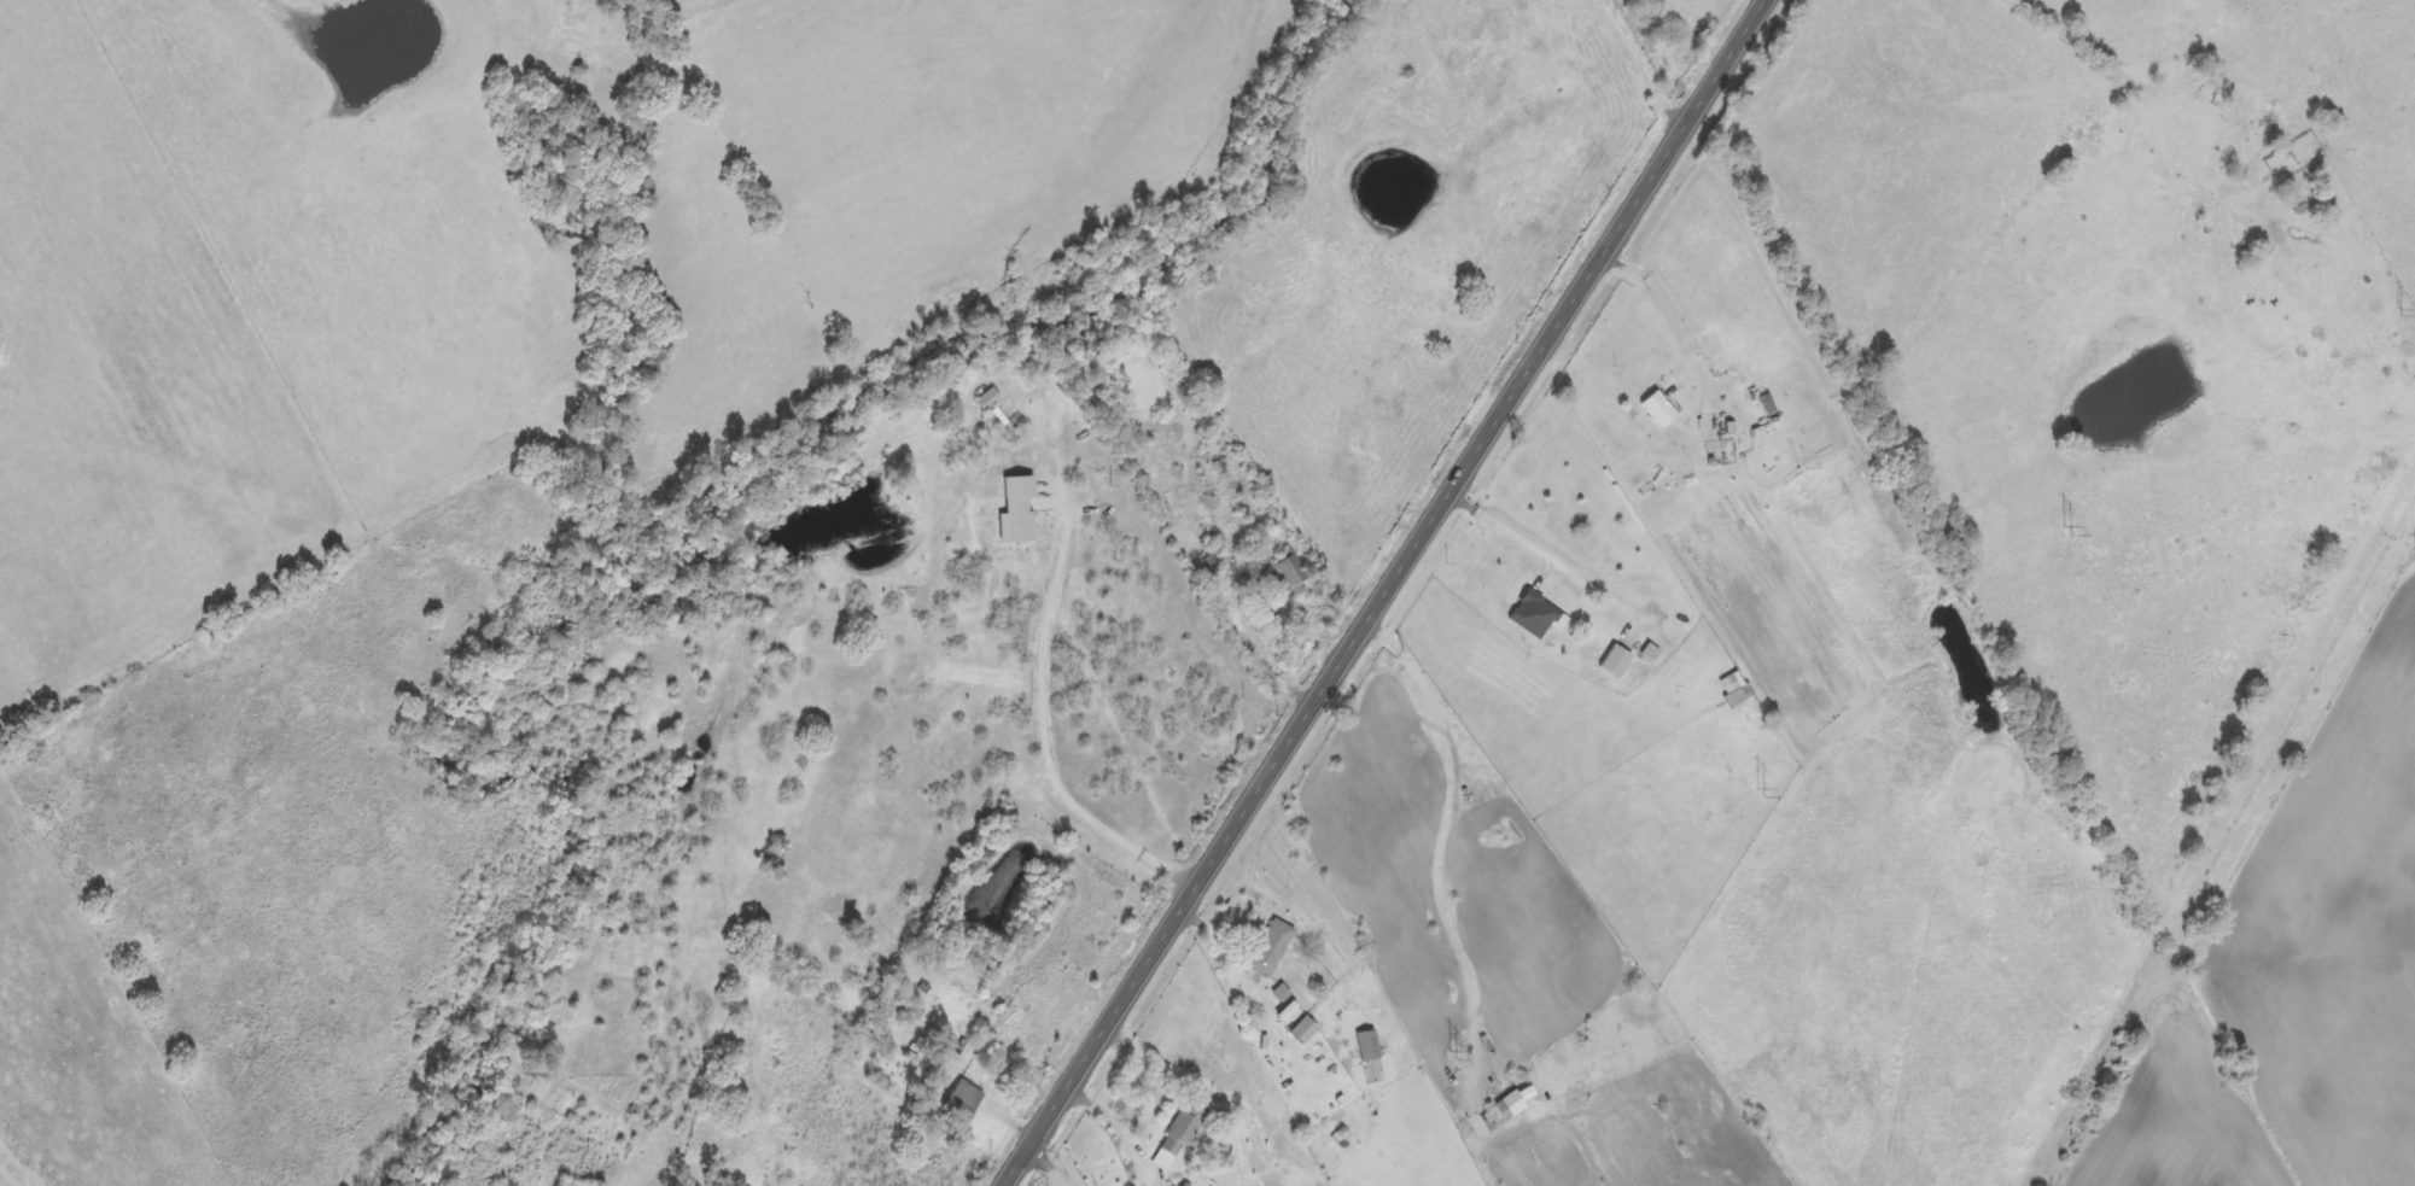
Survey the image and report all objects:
power tower: (2399, 311)
building: (990, 401)
building: (1661, 411)
building: (1017, 513)
power tower: (2066, 530)
building: (1290, 573)
road: (1379, 591)
building: (1539, 618)
building: (1651, 654)
building: (1617, 662)
building: (1736, 690)
power tower: (1760, 793)
railway: (2217, 823)
building: (1272, 950)
building: (1283, 995)
building: (1305, 1032)
building: (1369, 1047)
power tower: (1452, 1054)
building: (964, 1103)
building: (1516, 1104)
building: (1183, 1134)
road: (1050, 1162)

